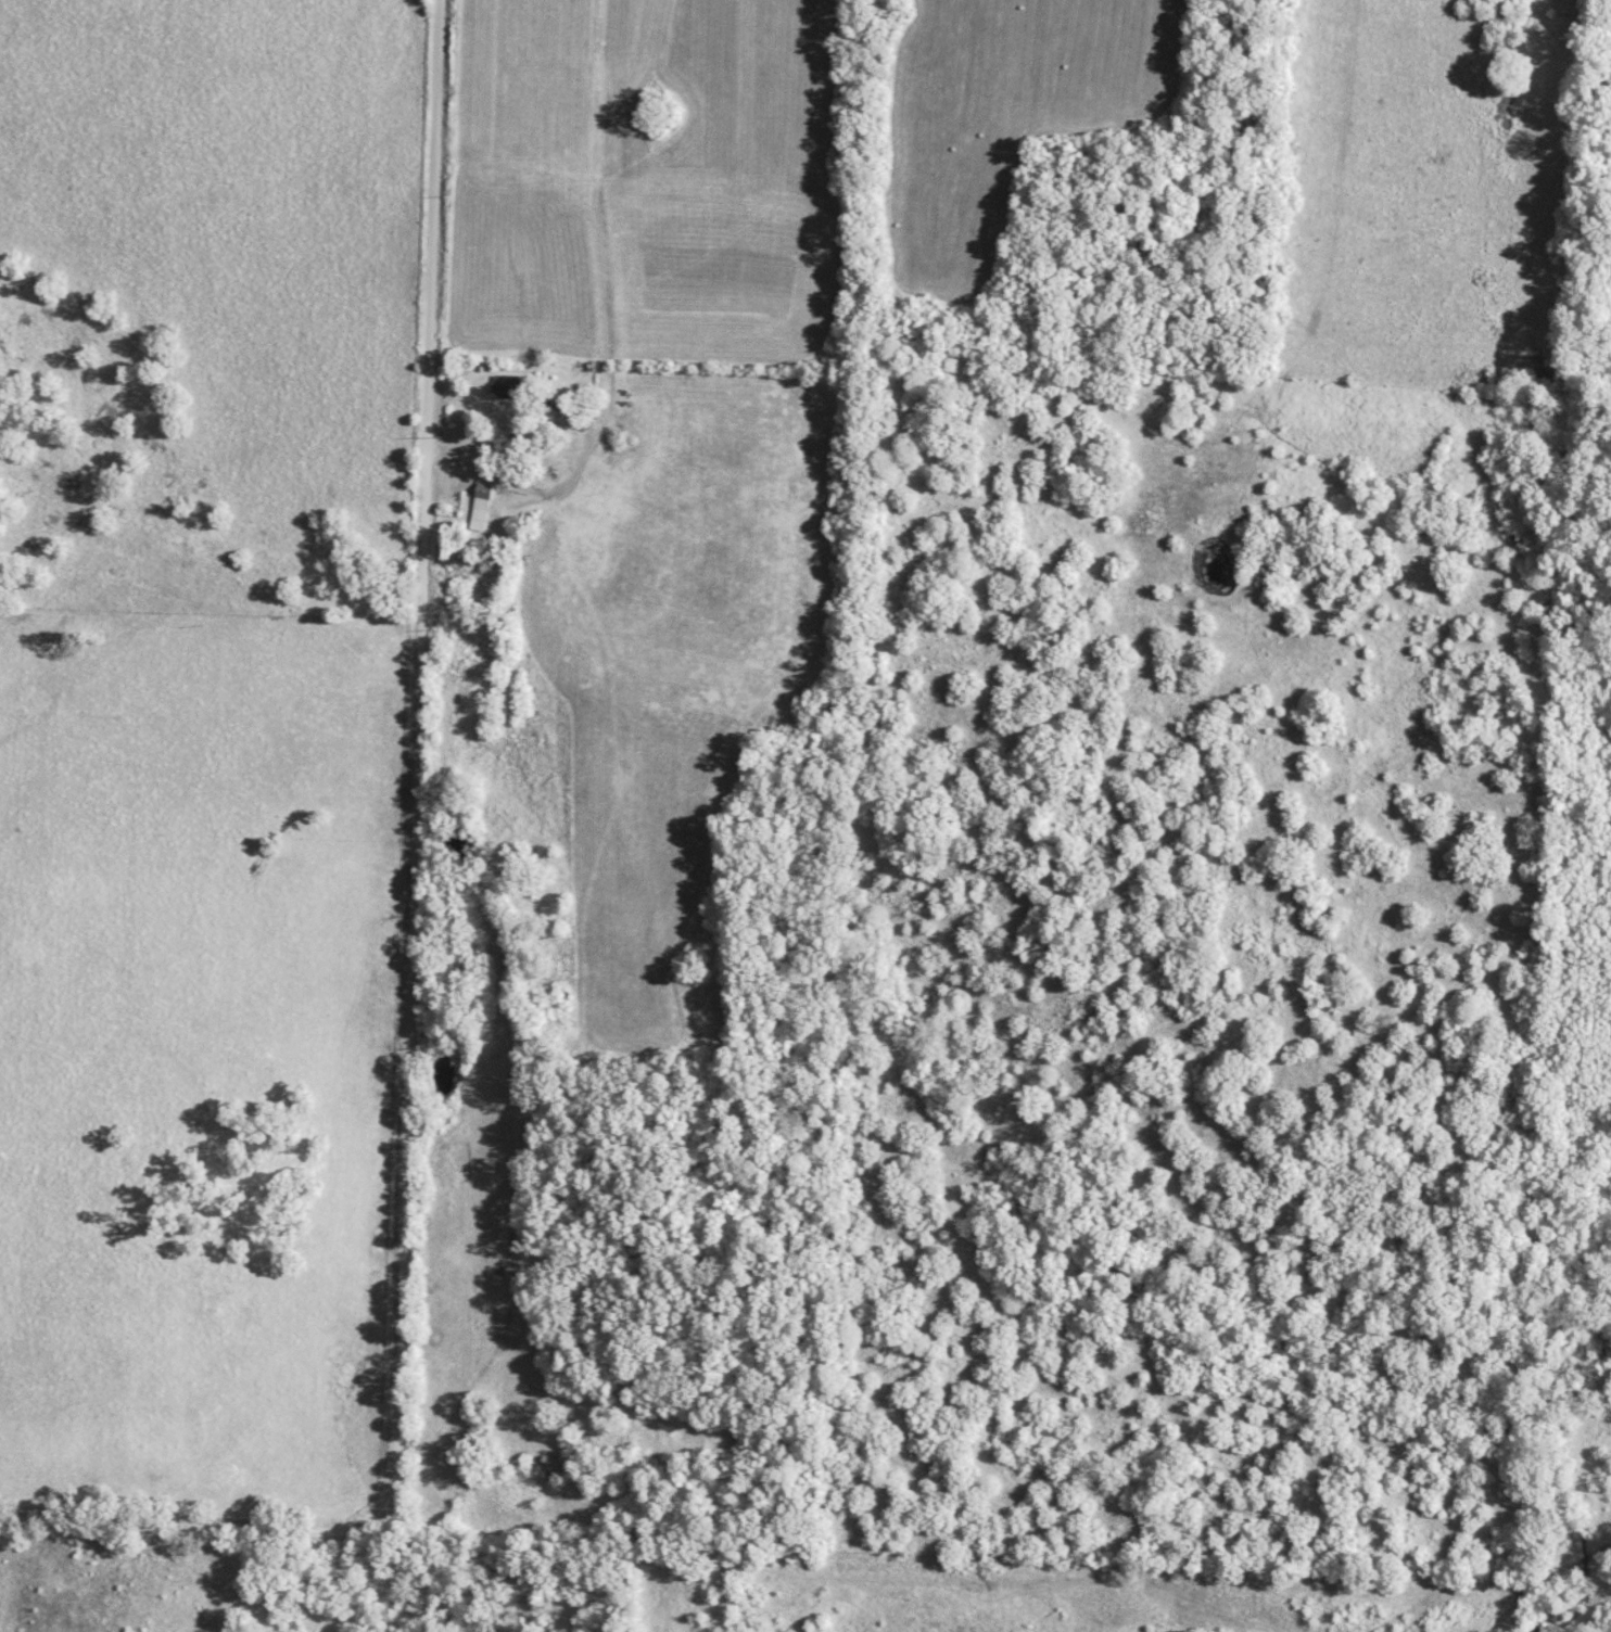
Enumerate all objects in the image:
building: (508, 385)
road: (497, 472)
building: (482, 500)
road: (408, 951)

